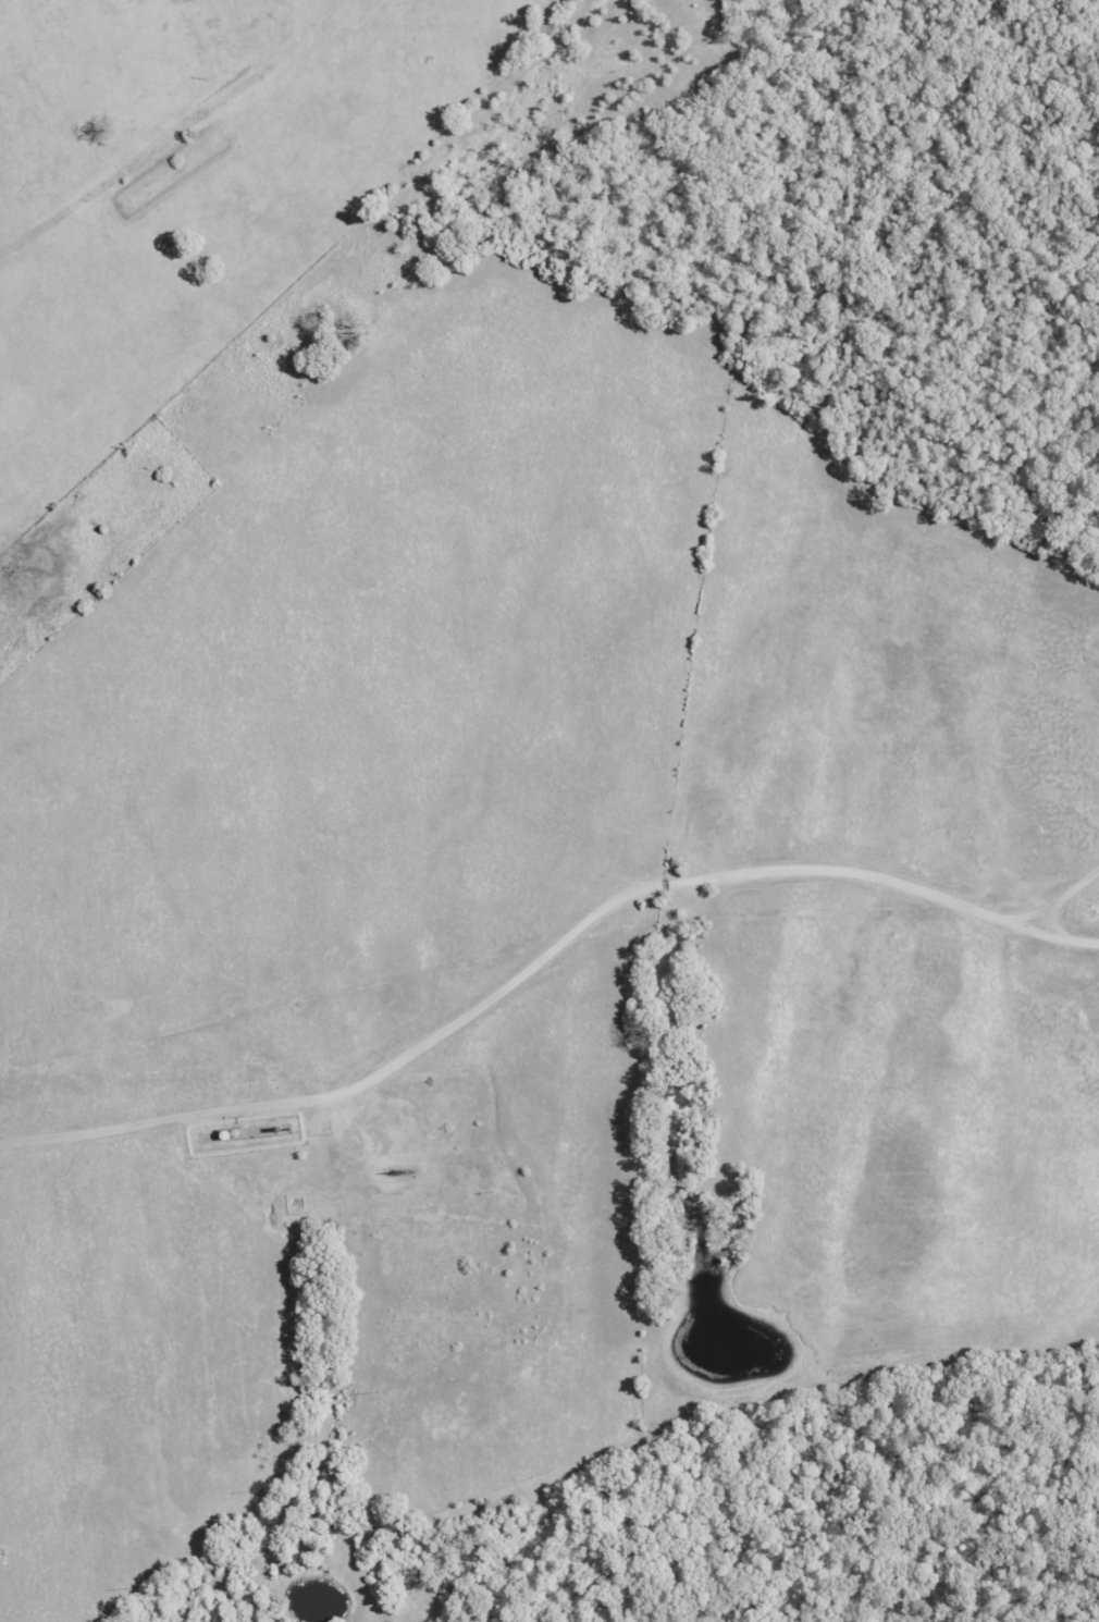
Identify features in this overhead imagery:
petroleum well: (403, 1172)

